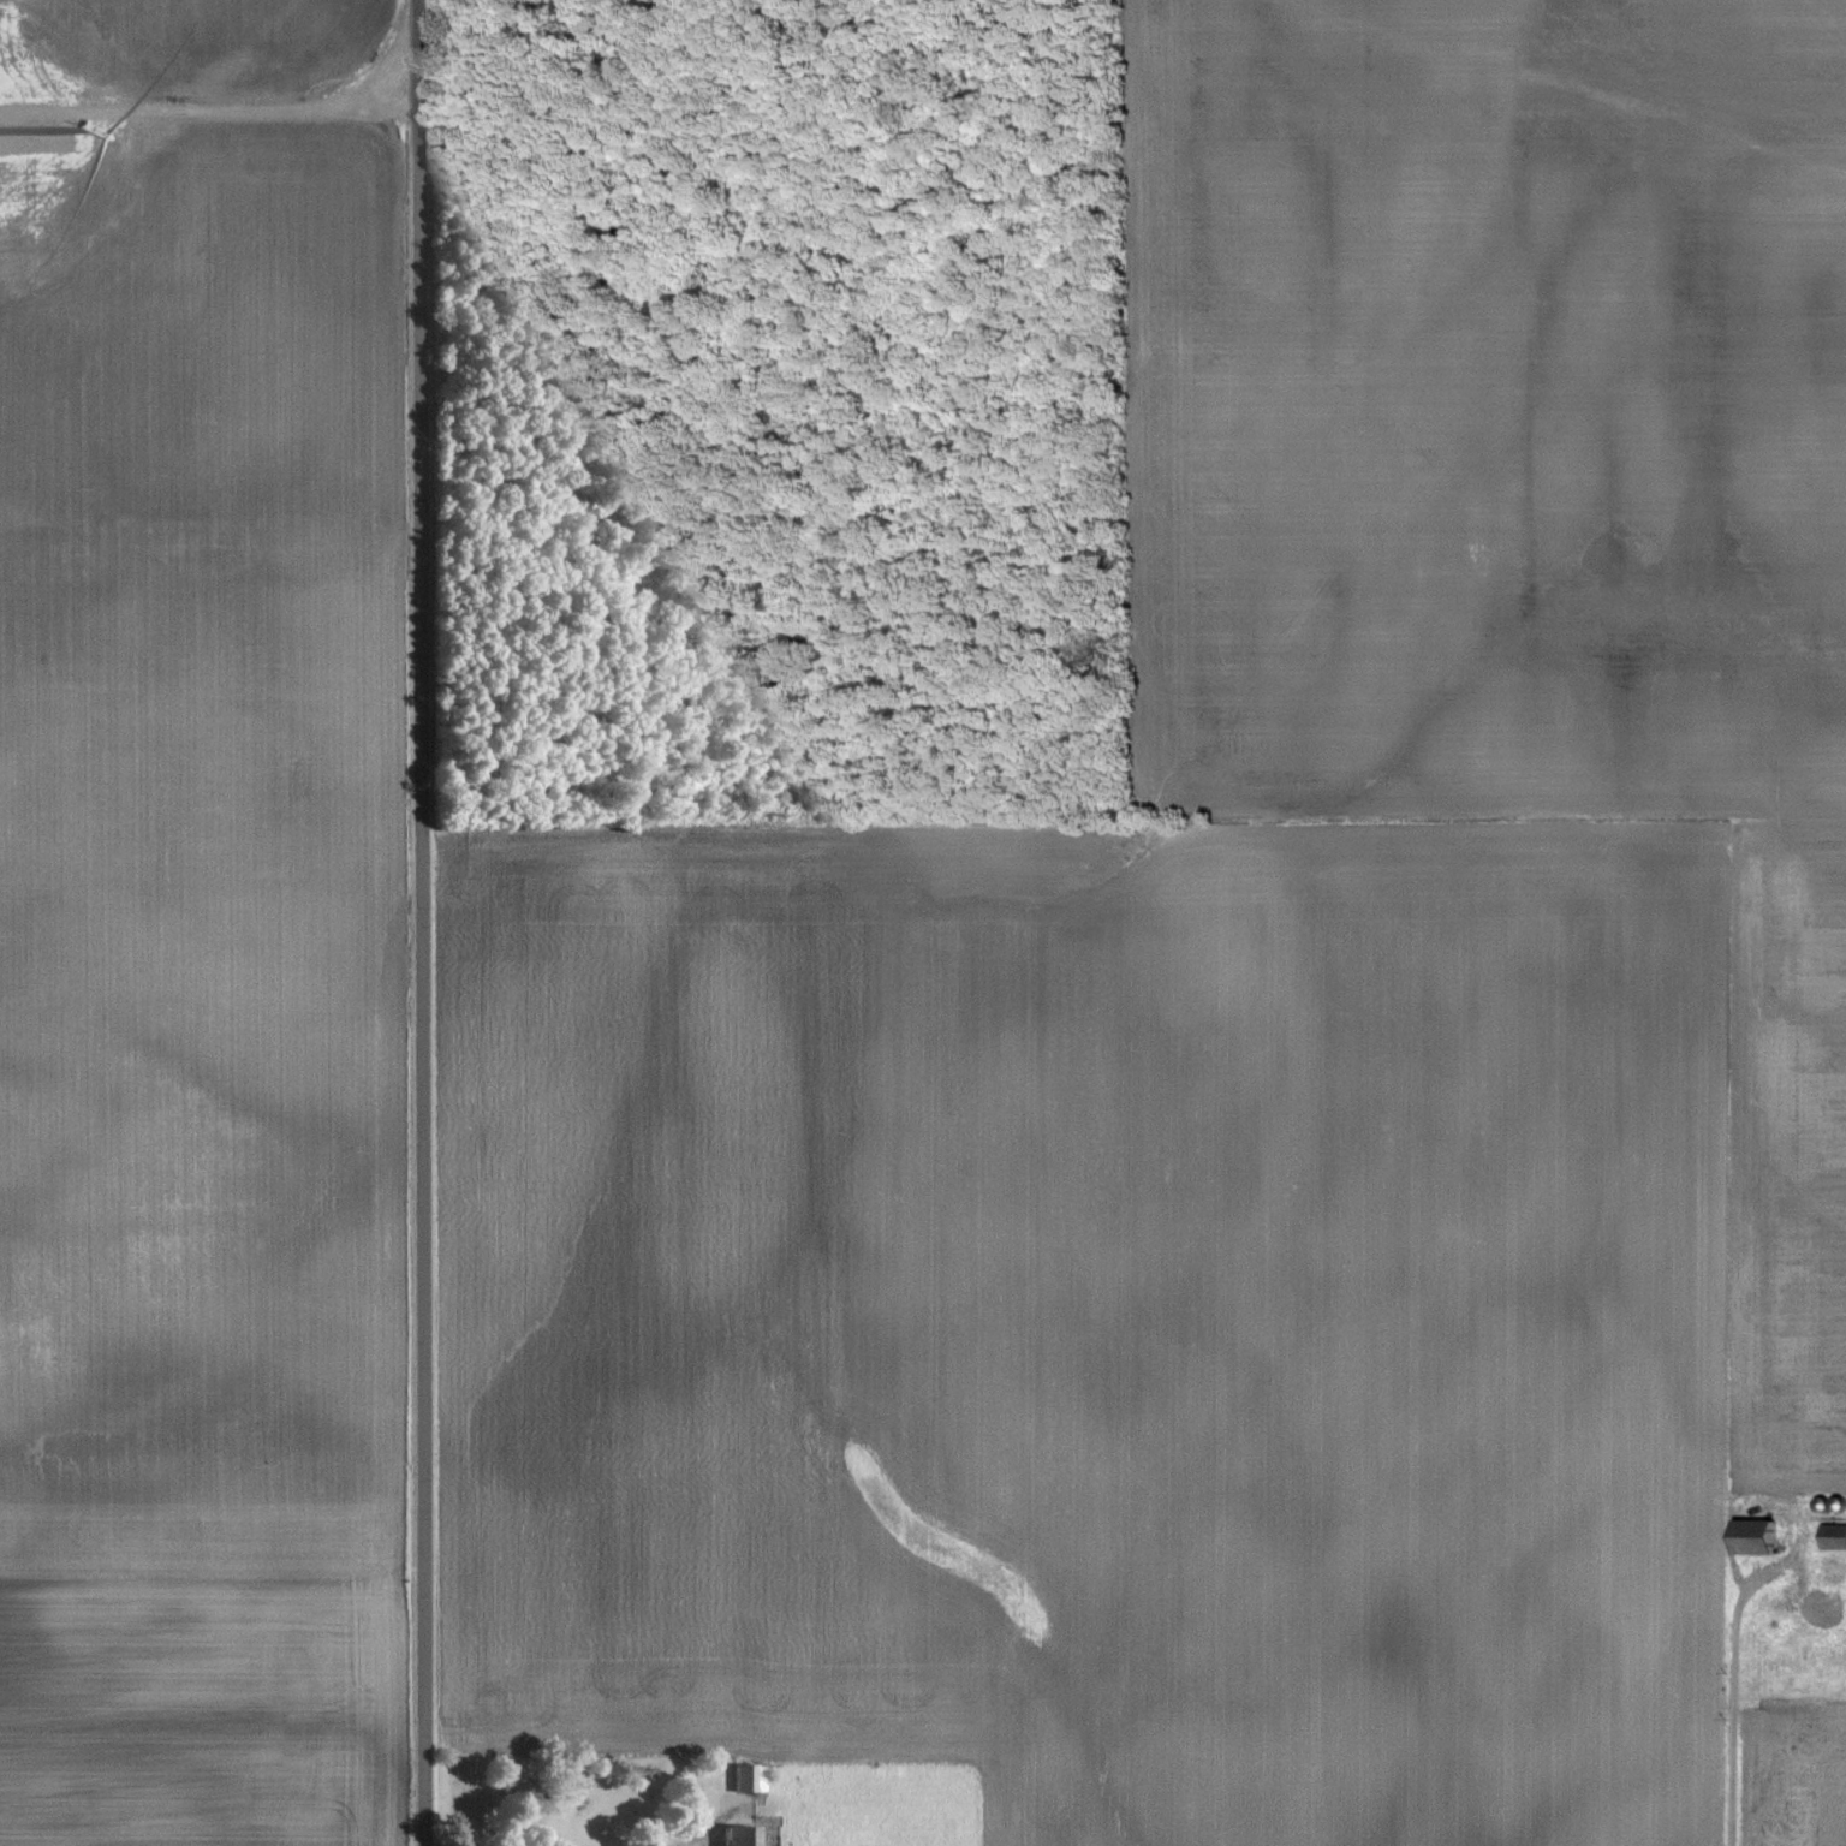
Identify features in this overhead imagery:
road: (416, 922)
building: (1750, 1535)
road: (1728, 1681)
building: (739, 1775)
road: (707, 1828)
building: (746, 1832)

